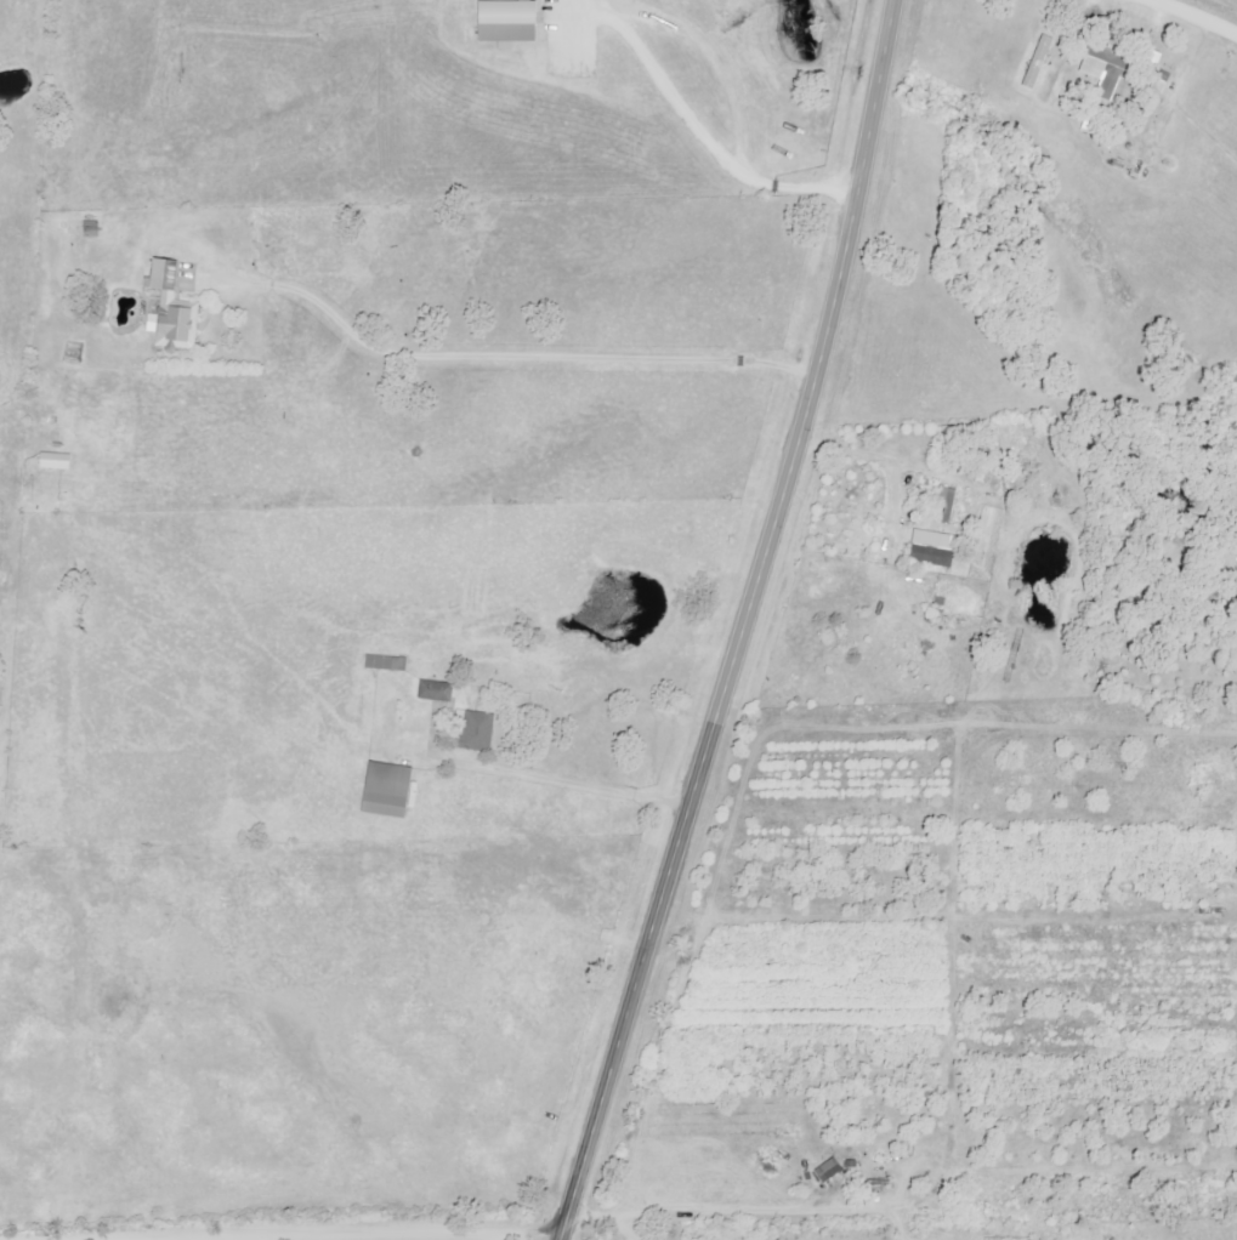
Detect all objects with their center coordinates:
road: (1190, 17)
building: (504, 21)
building: (1035, 62)
building: (1101, 70)
building: (1159, 81)
building: (89, 229)
building: (169, 308)
building: (52, 461)
building: (930, 548)
road: (743, 624)
building: (385, 662)
building: (433, 690)
building: (475, 732)
building: (385, 790)
building: (827, 1171)
road: (382, 1236)

